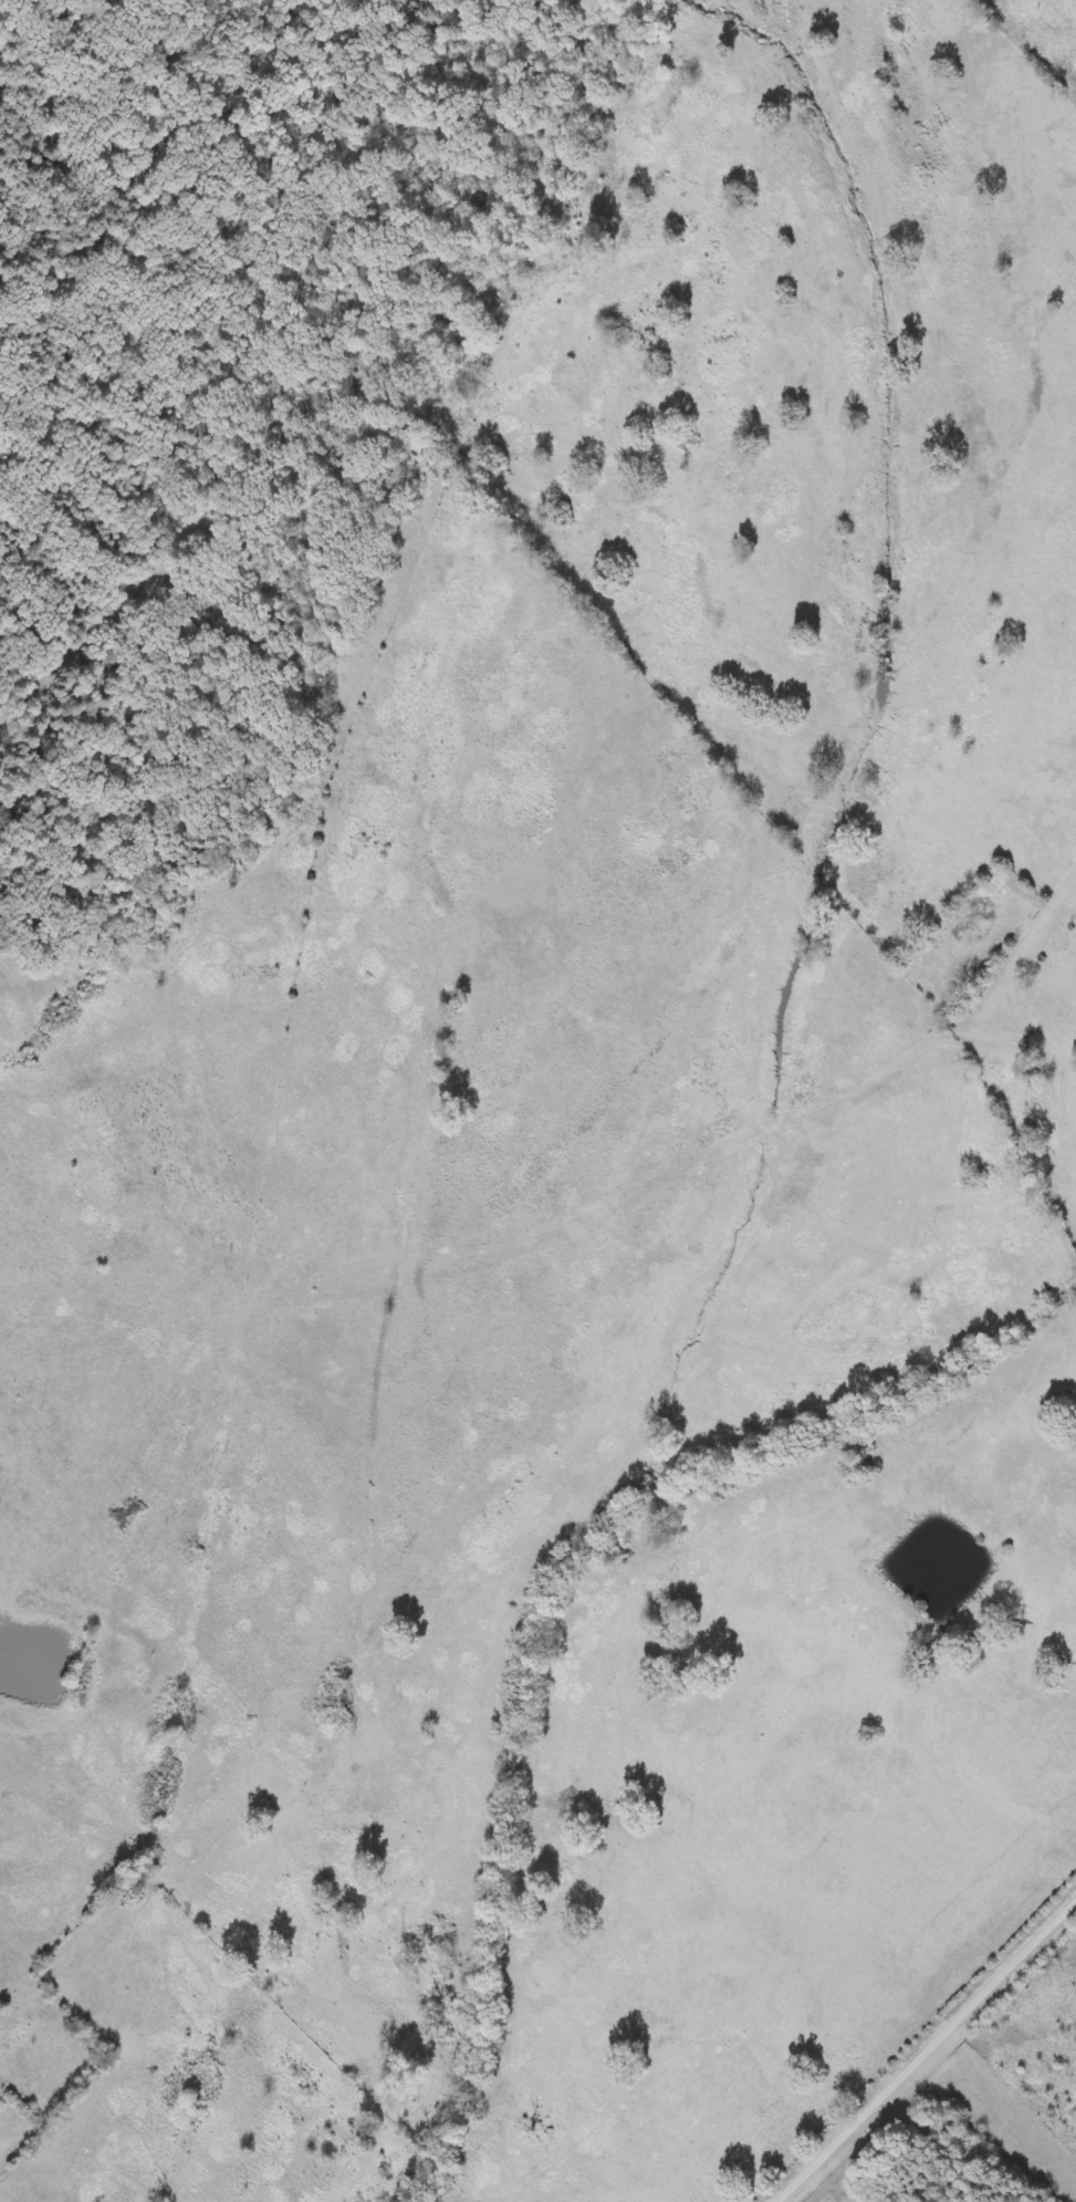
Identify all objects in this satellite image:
road: (1054, 1077)
road: (927, 2050)

